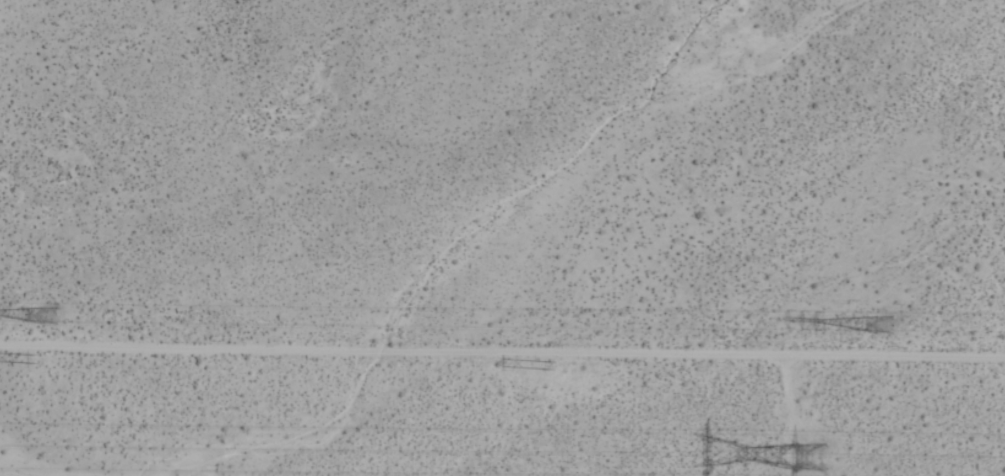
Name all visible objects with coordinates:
power tower: (51, 317)
road: (502, 352)
power tower: (38, 359)
power tower: (558, 366)
power tower: (830, 455)

